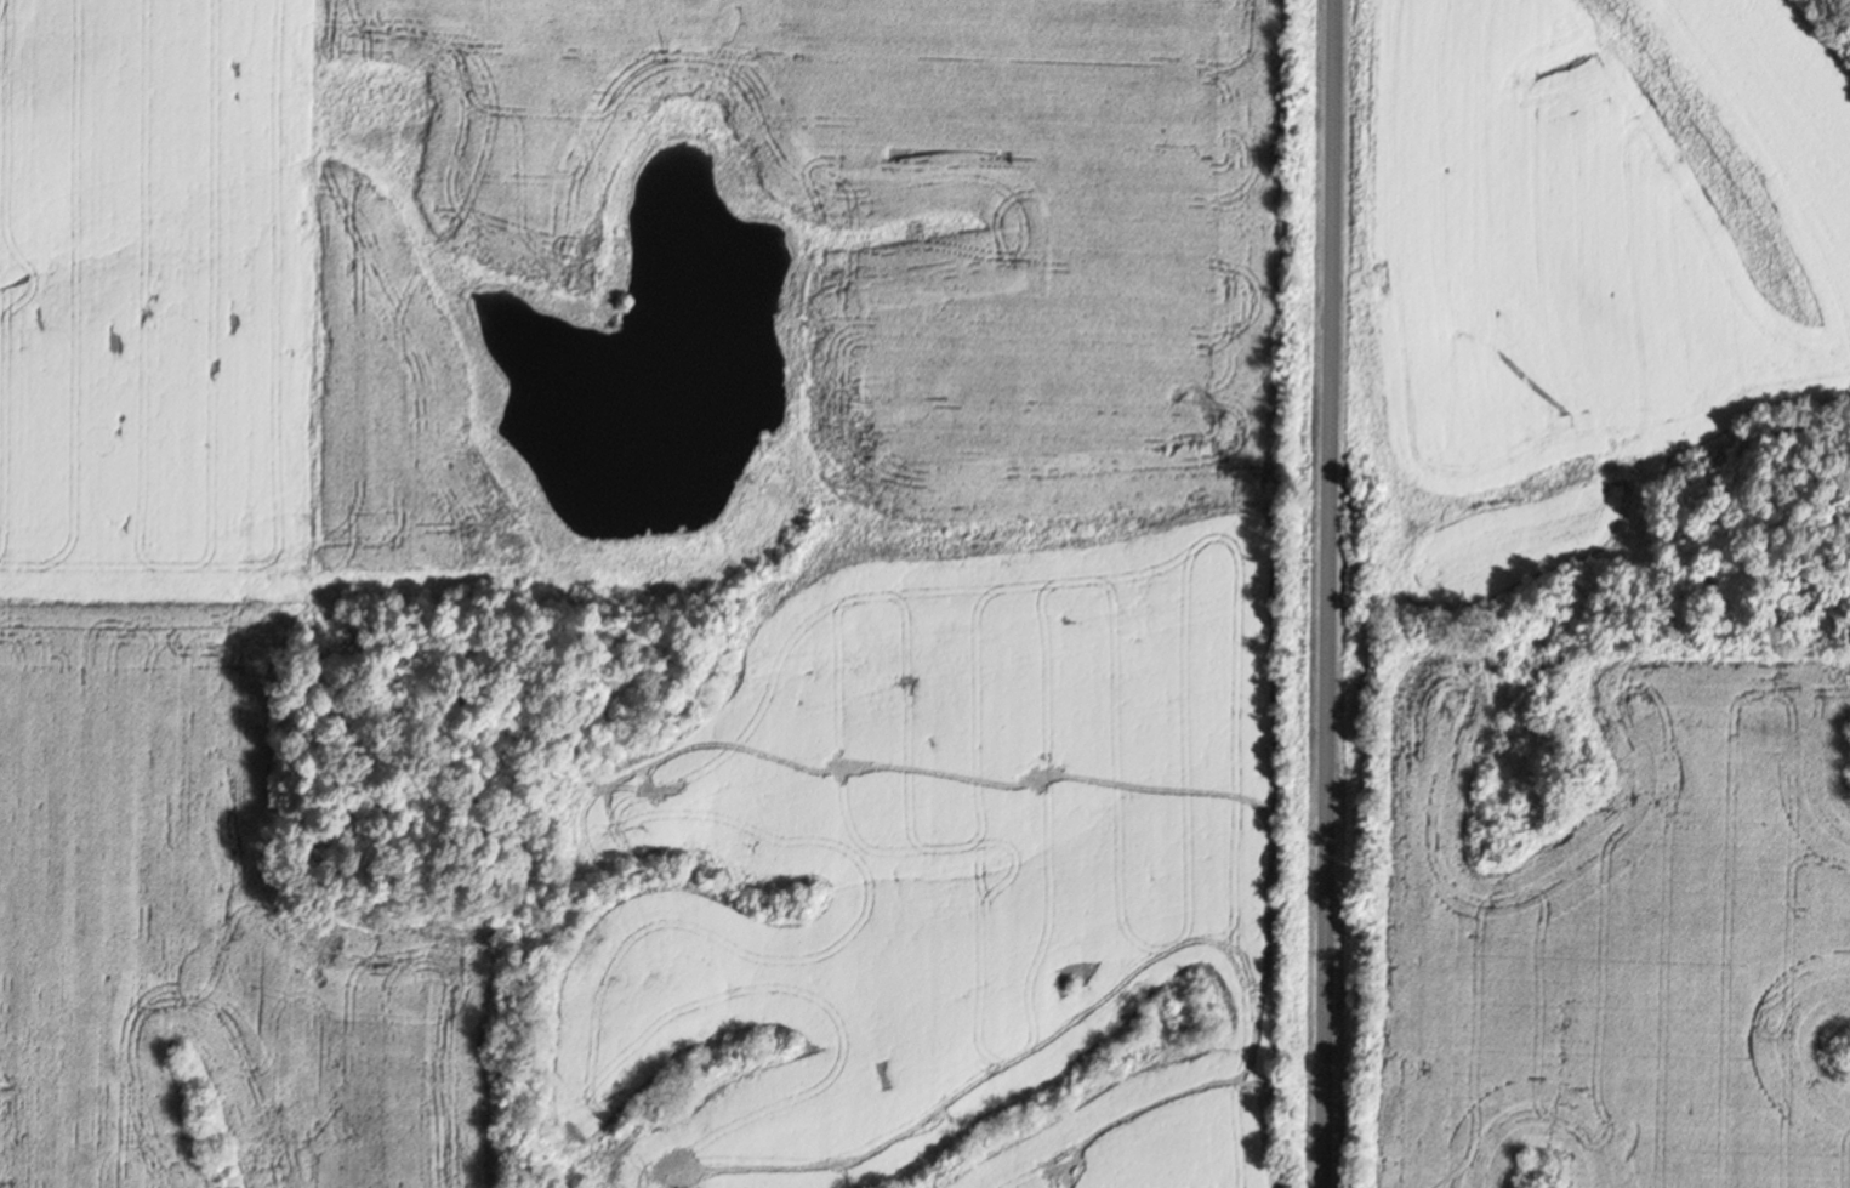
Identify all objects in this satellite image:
road: (1330, 593)

